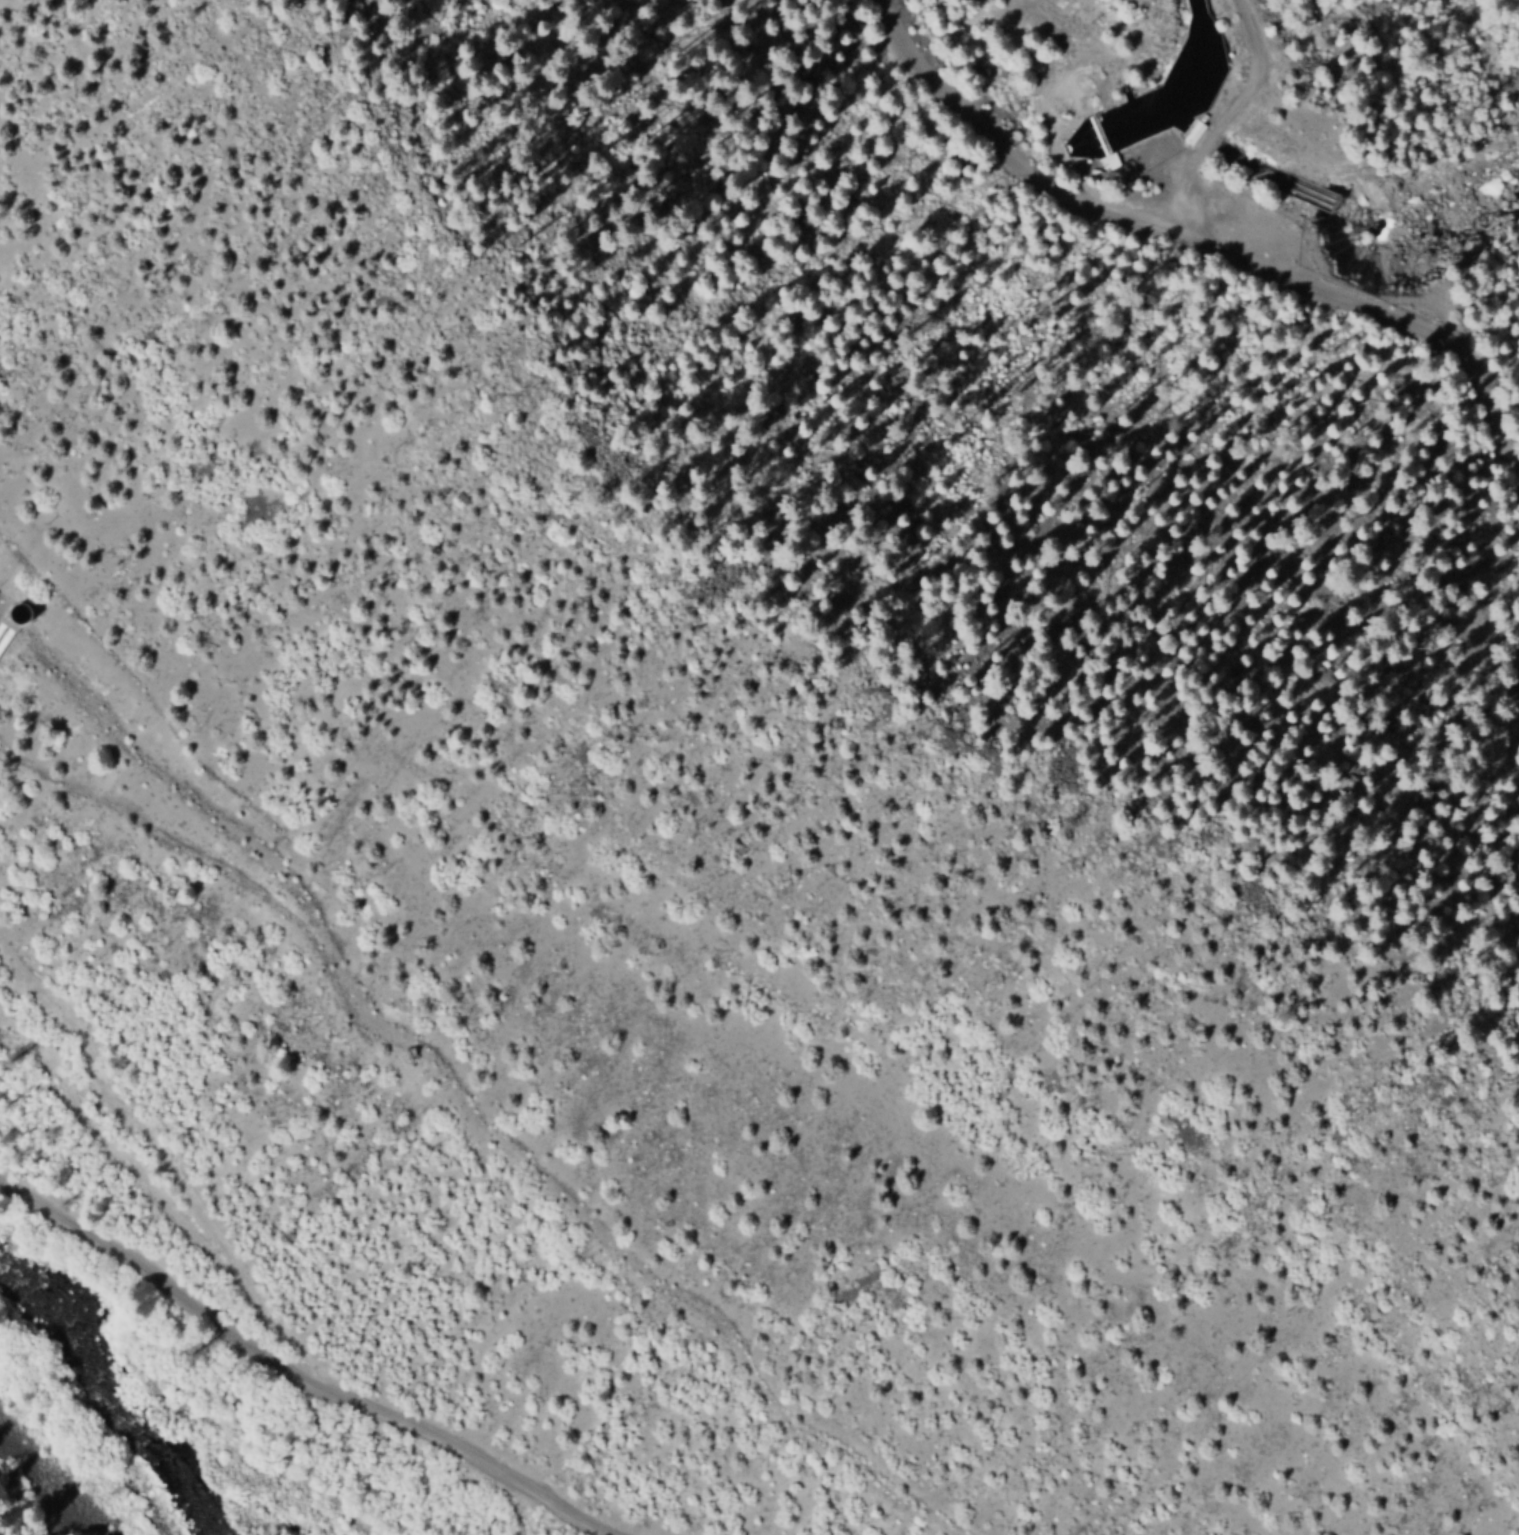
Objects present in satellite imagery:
road: (1185, 164)
road: (1138, 199)
road: (1202, 242)
road: (300, 1374)
river: (112, 1399)

